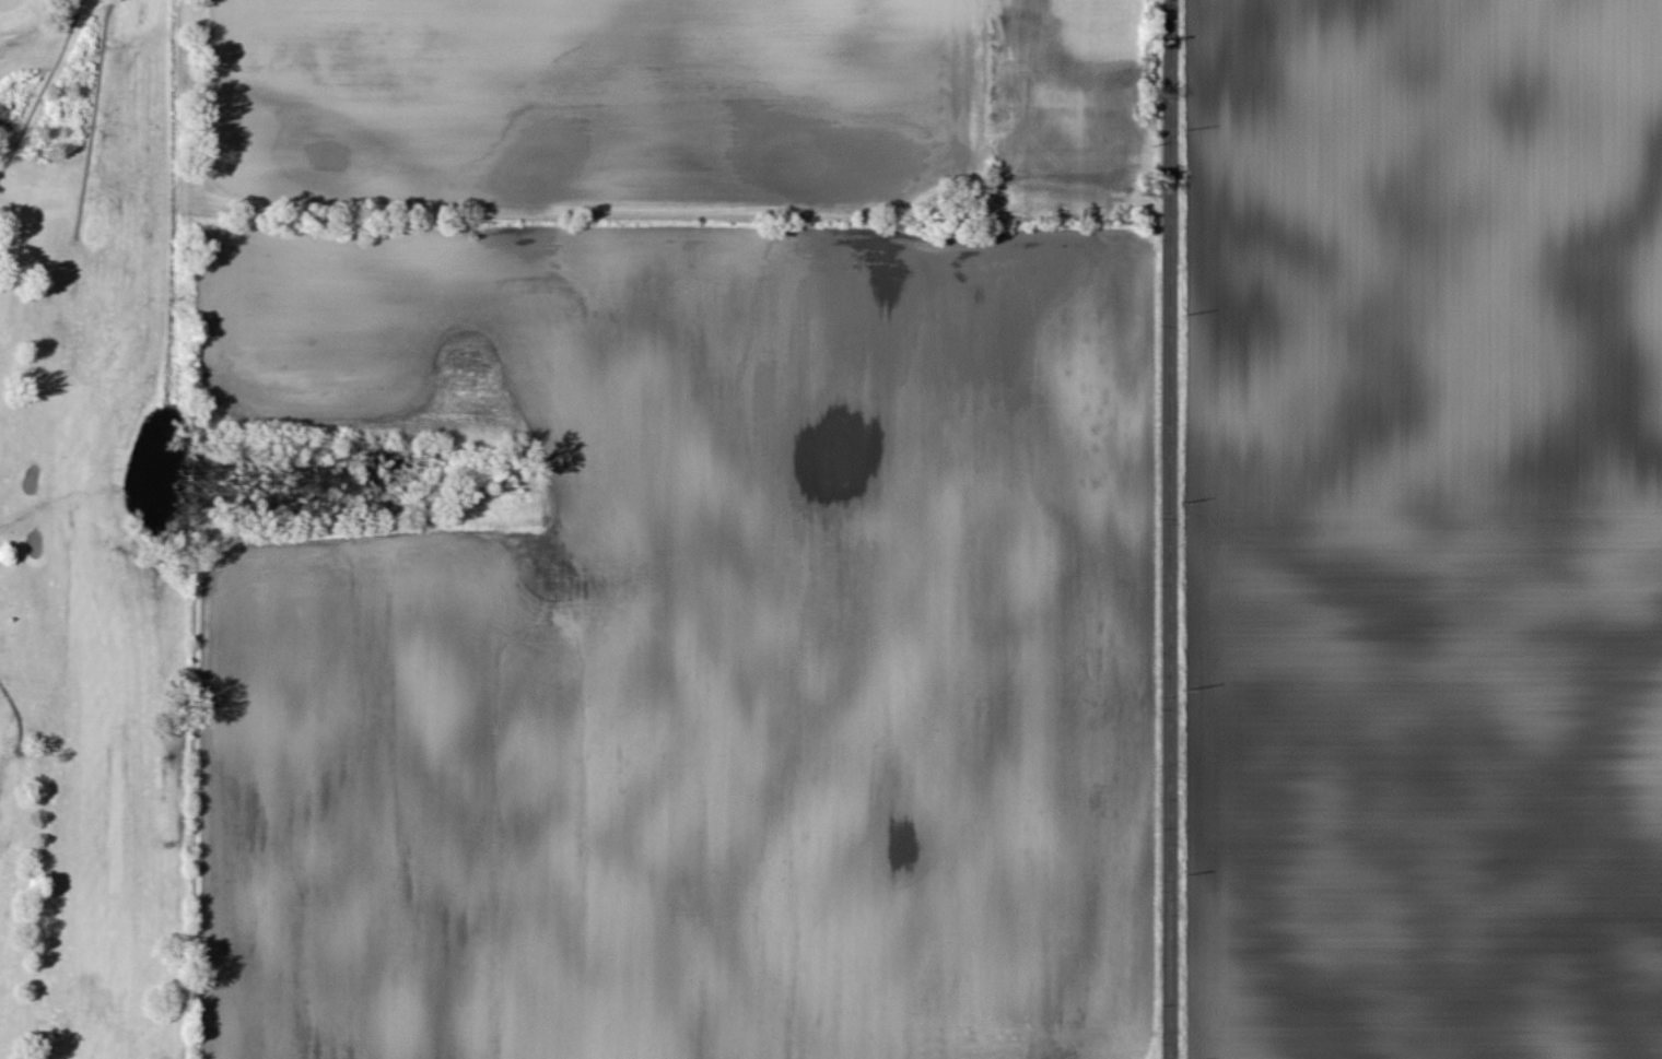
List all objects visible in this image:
road: (1171, 529)

